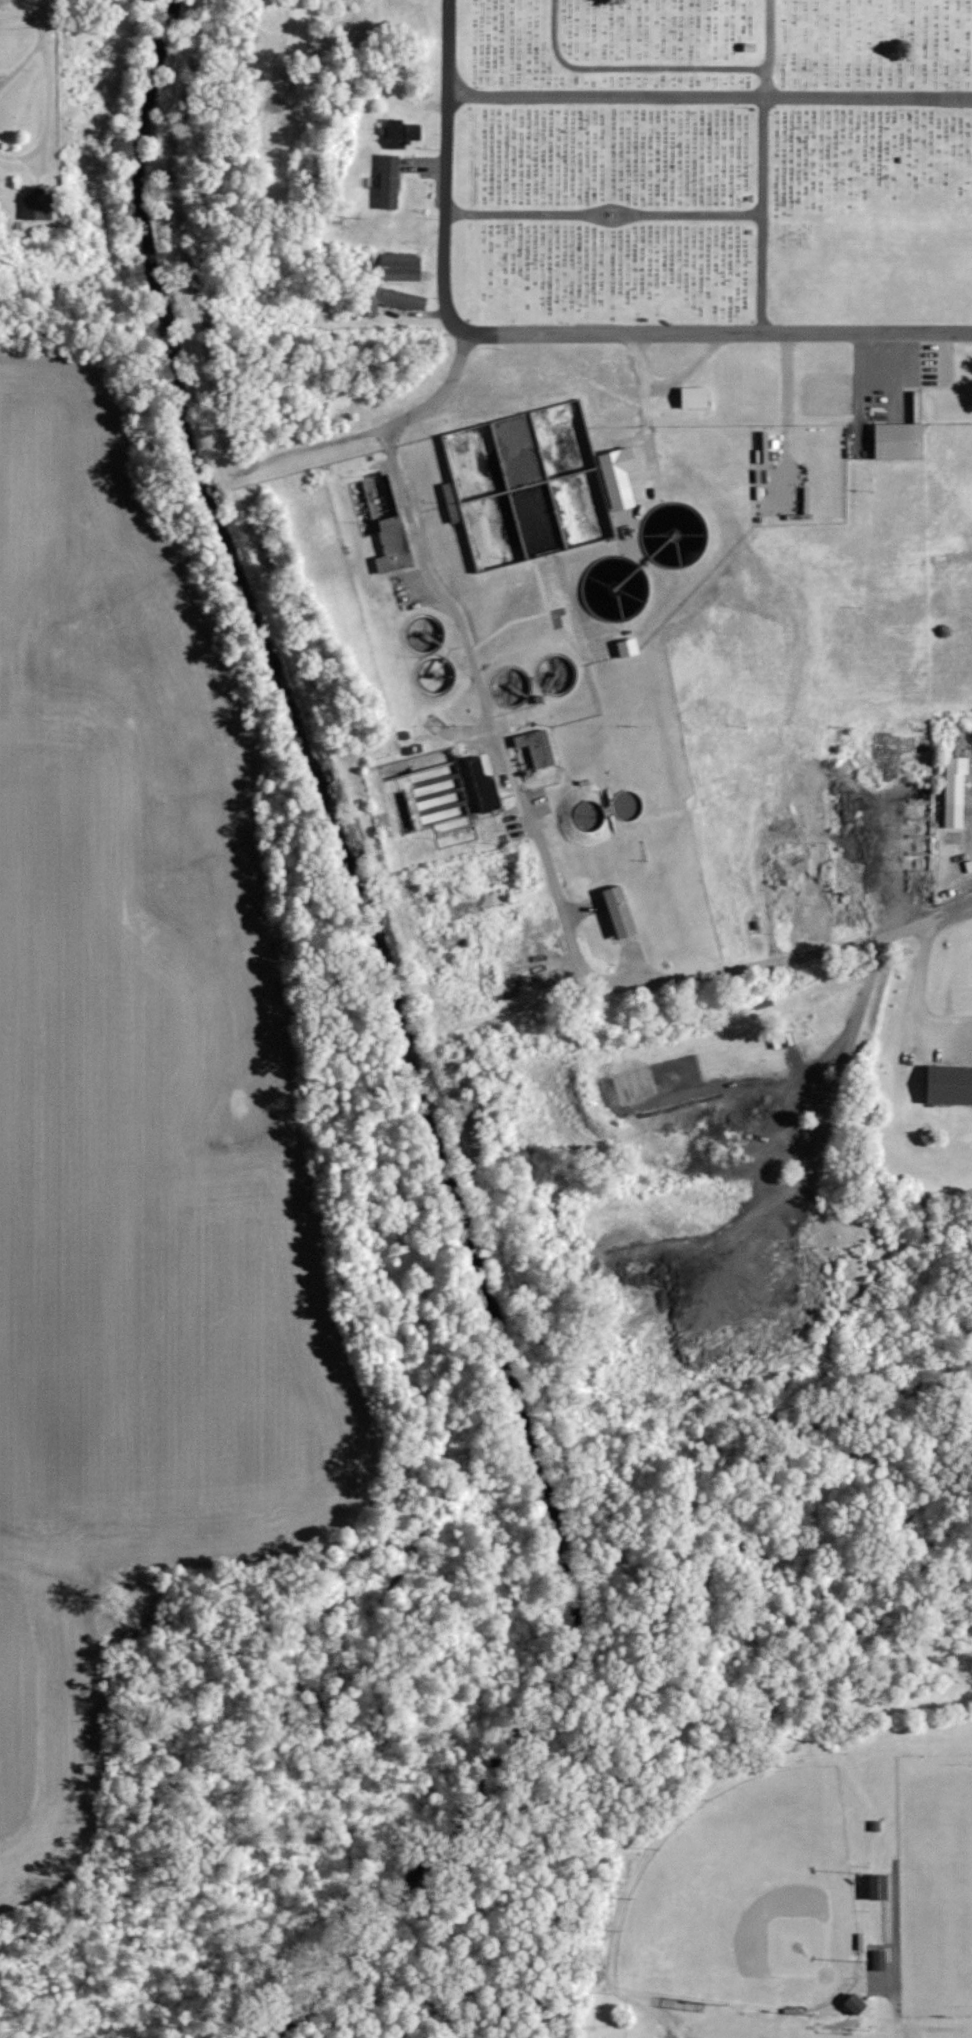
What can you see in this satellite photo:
road: (43, 20)
building: (750, 48)
road: (21, 65)
road: (631, 68)
road: (709, 95)
road: (47, 114)
building: (403, 133)
road: (447, 162)
park: (711, 162)
road: (763, 165)
building: (390, 182)
building: (37, 207)
road: (604, 212)
building: (399, 267)
building: (392, 300)
road: (713, 332)
building: (694, 398)
building: (899, 440)
building: (517, 448)
building: (486, 469)
building: (394, 544)
wastewater plant: (540, 688)
building: (537, 747)
building: (484, 786)
building: (955, 792)
building: (589, 815)
road: (533, 826)
building: (620, 911)
building: (755, 924)
road: (925, 995)
river: (410, 1060)
building: (950, 1085)
building: (879, 1887)
park: (749, 1897)
building: (879, 1960)
road: (894, 1960)
building: (856, 2004)

